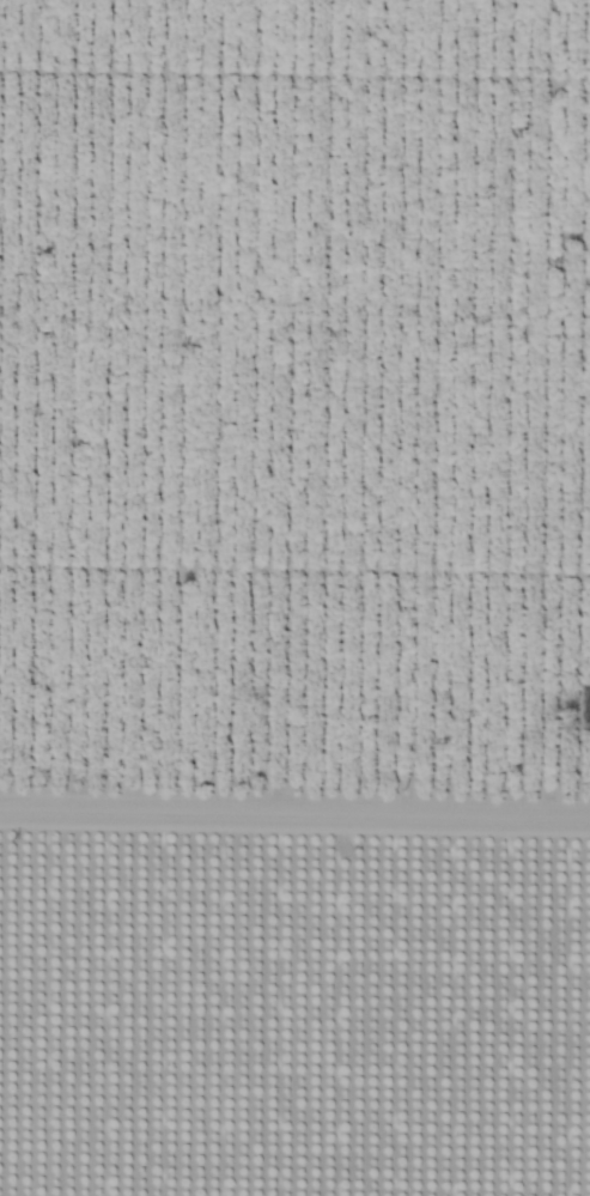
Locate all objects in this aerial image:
road: (294, 793)

